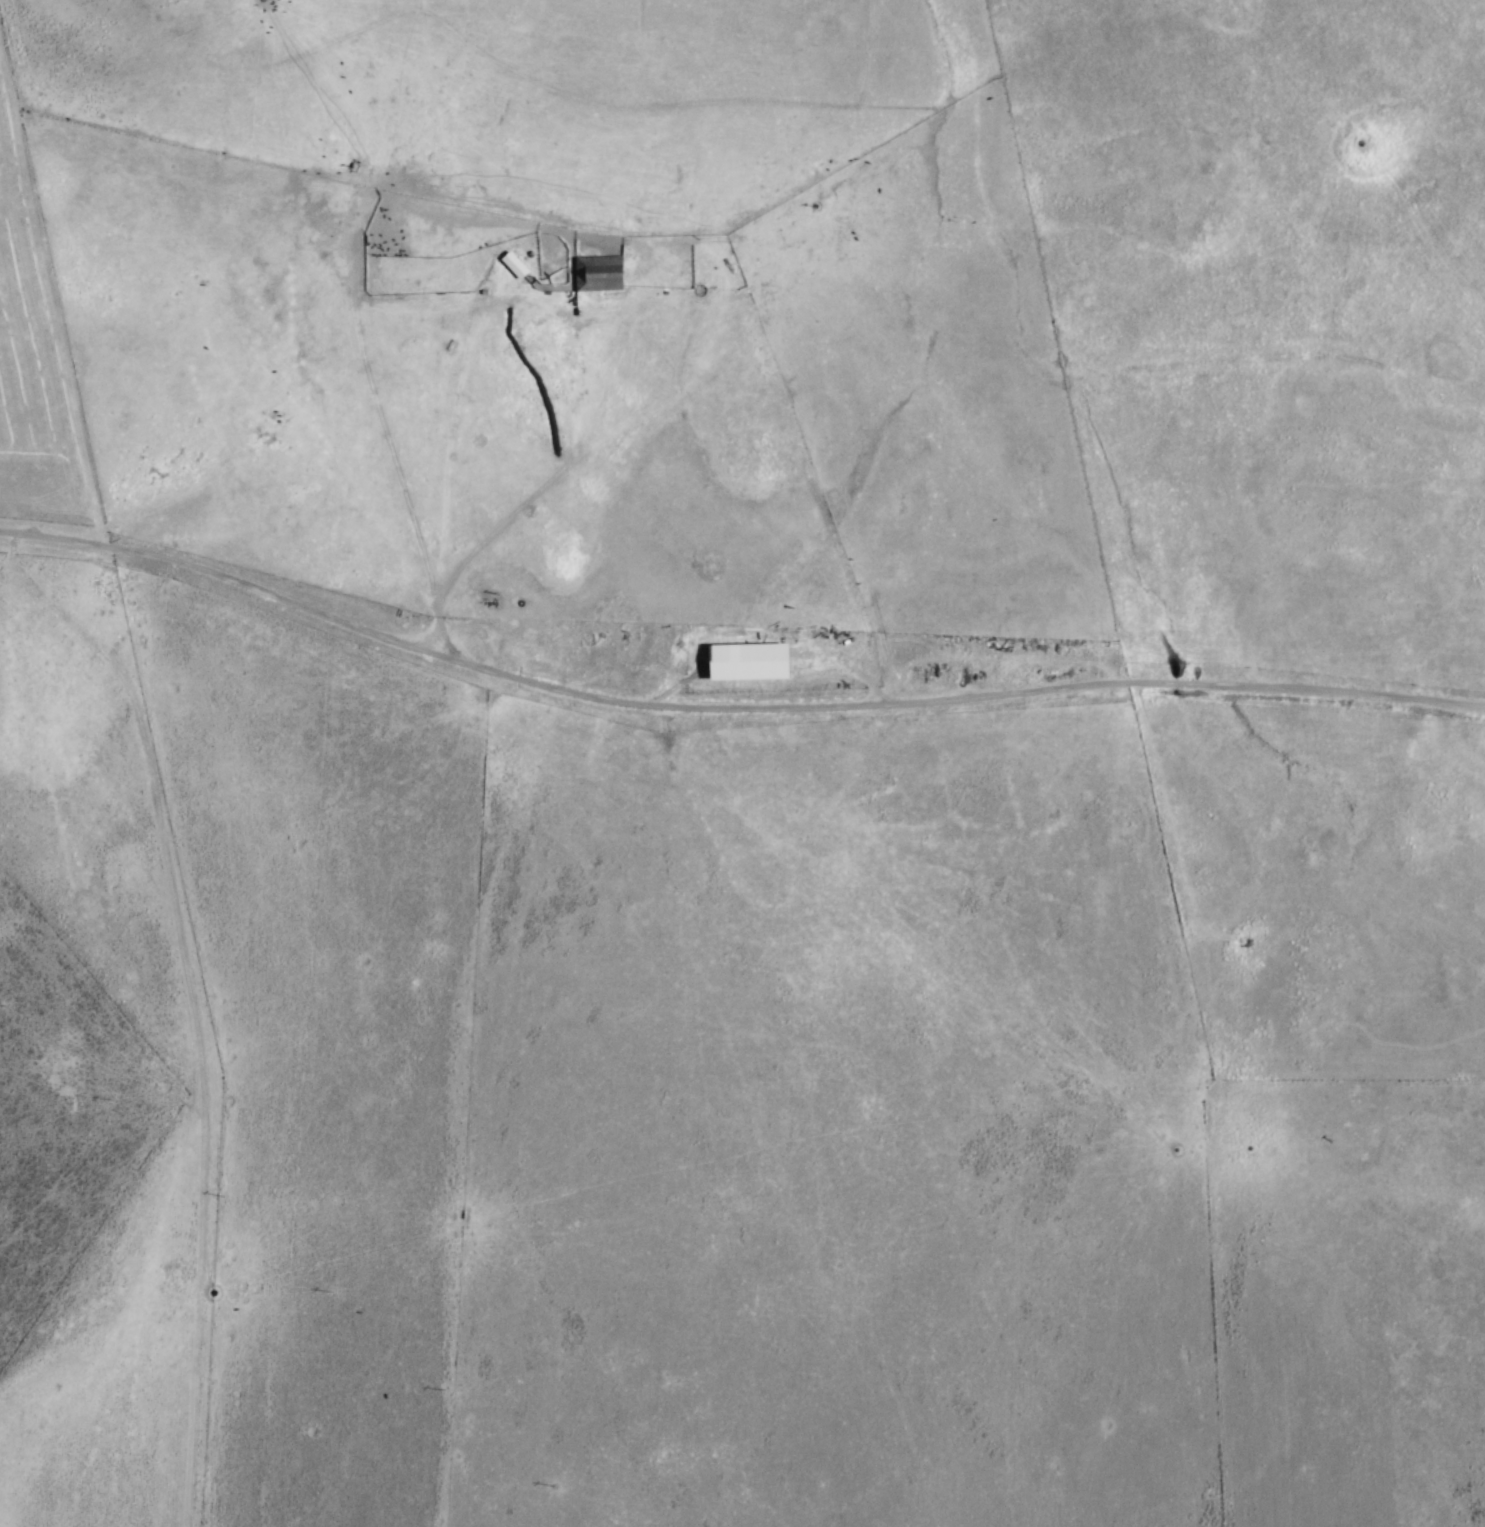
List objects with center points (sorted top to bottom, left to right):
building: (512, 263)
crop: (877, 493)
road: (730, 709)

